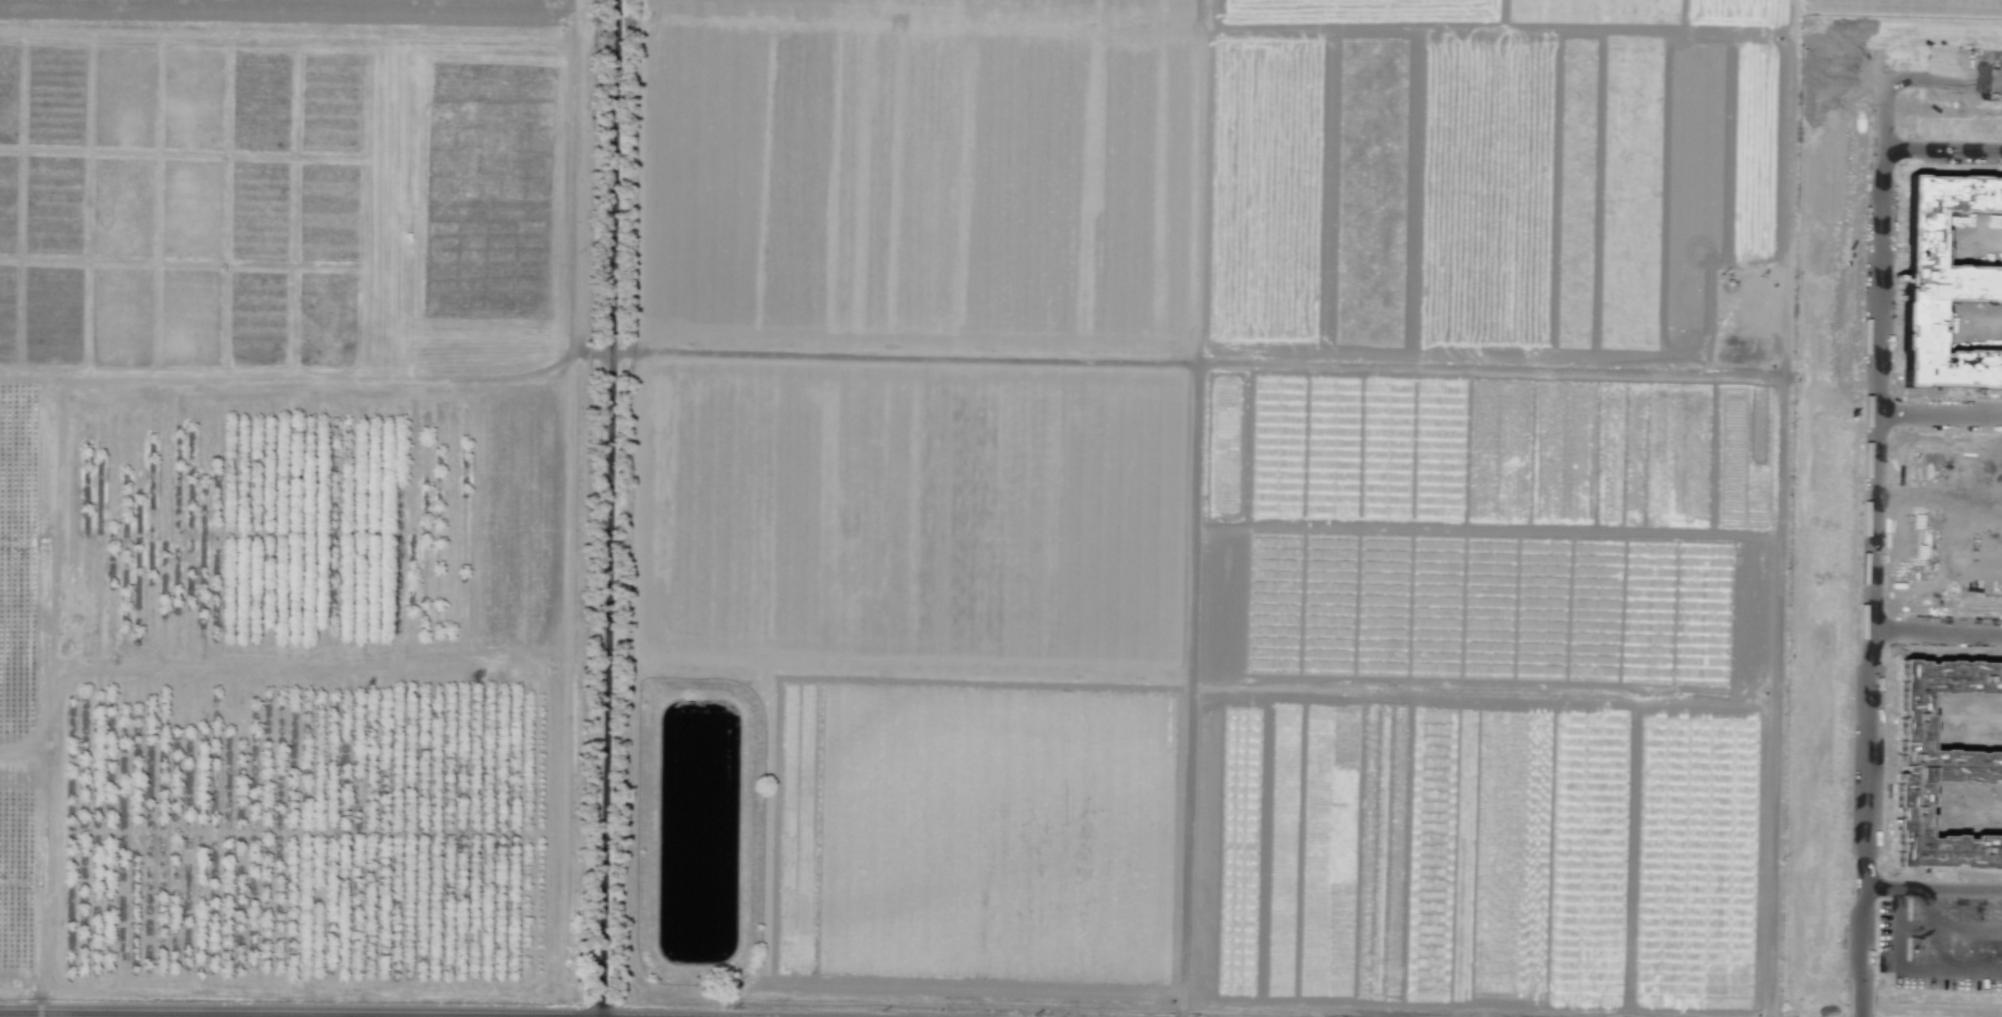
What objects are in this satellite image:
road: (1951, 78)
road: (1790, 102)
road: (1886, 111)
road: (1944, 152)
road: (604, 351)
road: (1209, 363)
road: (27, 375)
road: (312, 375)
road: (1878, 391)
road: (1940, 416)
road: (566, 500)
road: (1193, 503)
road: (611, 508)
road: (1935, 631)
road: (50, 686)
road: (1779, 698)
road: (632, 765)
road: (1859, 822)
road: (1930, 897)
road: (1900, 938)
road: (1946, 940)
road: (1943, 961)
road: (1931, 982)
road: (1182, 1012)

